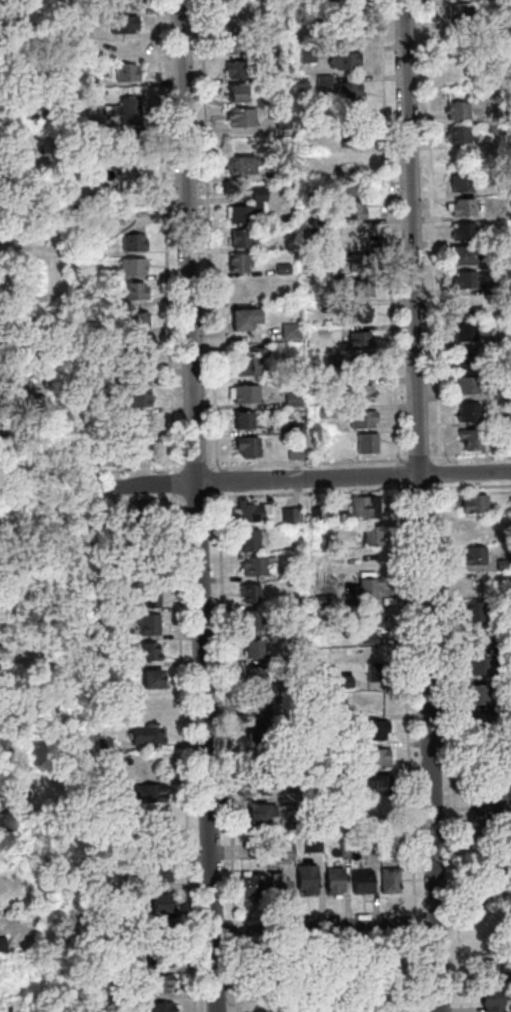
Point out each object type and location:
building: (123, 3)
building: (81, 8)
building: (459, 13)
building: (500, 17)
building: (232, 19)
building: (121, 23)
building: (352, 23)
building: (277, 27)
building: (77, 29)
building: (232, 44)
building: (279, 50)
building: (305, 54)
building: (459, 58)
building: (342, 60)
building: (236, 68)
building: (124, 72)
building: (321, 79)
building: (85, 81)
building: (348, 90)
building: (235, 92)
building: (124, 110)
building: (455, 110)
building: (240, 116)
building: (281, 120)
building: (82, 126)
building: (491, 128)
building: (456, 135)
building: (350, 137)
building: (127, 144)
building: (32, 145)
building: (81, 153)
building: (350, 162)
building: (239, 165)
building: (307, 168)
building: (282, 172)
building: (128, 175)
building: (459, 182)
building: (352, 186)
building: (306, 194)
building: (246, 207)
building: (460, 207)
building: (350, 210)
building: (121, 218)
building: (319, 219)
building: (460, 231)
road: (387, 232)
road: (429, 232)
building: (352, 234)
road: (206, 235)
road: (164, 236)
building: (240, 237)
building: (507, 237)
building: (132, 242)
building: (308, 242)
building: (463, 255)
building: (357, 261)
building: (236, 262)
building: (130, 266)
building: (281, 268)
building: (87, 275)
building: (334, 279)
building: (462, 279)
building: (245, 285)
building: (360, 288)
building: (491, 288)
building: (133, 290)
building: (101, 299)
building: (464, 306)
building: (355, 313)
building: (242, 317)
building: (138, 319)
building: (287, 330)
building: (462, 331)
building: (358, 340)
building: (490, 341)
building: (138, 356)
building: (464, 359)
building: (250, 362)
building: (362, 365)
building: (508, 366)
building: (44, 372)
building: (465, 384)
building: (358, 392)
building: (498, 392)
building: (244, 393)
building: (137, 397)
building: (291, 398)
building: (108, 408)
building: (323, 411)
building: (466, 411)
building: (360, 419)
building: (499, 419)
building: (241, 420)
building: (293, 427)
building: (469, 438)
building: (1, 439)
building: (128, 439)
building: (314, 440)
building: (364, 442)
building: (245, 446)
building: (293, 451)
road: (469, 456)
road: (417, 459)
road: (305, 461)
road: (193, 467)
road: (135, 469)
road: (438, 472)
road: (396, 474)
road: (305, 478)
road: (215, 480)
road: (173, 484)
road: (469, 485)
road: (417, 487)
road: (307, 492)
road: (195, 496)
road: (144, 498)
building: (471, 503)
building: (509, 504)
road: (195, 506)
road: (418, 506)
building: (363, 507)
building: (109, 511)
building: (249, 511)
building: (316, 513)
building: (293, 514)
building: (140, 516)
building: (297, 527)
building: (472, 528)
building: (370, 536)
building: (247, 540)
building: (318, 543)
building: (109, 551)
building: (473, 555)
building: (502, 564)
building: (255, 565)
building: (143, 568)
building: (293, 573)
building: (365, 587)
building: (248, 592)
building: (147, 597)
building: (319, 599)
building: (300, 601)
building: (471, 612)
building: (250, 619)
building: (510, 619)
building: (368, 622)
building: (148, 624)
building: (298, 629)
building: (98, 633)
building: (471, 640)
building: (502, 648)
building: (253, 649)
building: (142, 651)
building: (38, 663)
building: (100, 663)
building: (479, 665)
building: (374, 671)
building: (506, 675)
building: (151, 679)
building: (343, 682)
building: (258, 689)
building: (475, 694)
road: (404, 697)
building: (509, 703)
building: (149, 706)
road: (224, 707)
building: (326, 723)
building: (480, 723)
building: (374, 730)
building: (143, 734)
building: (102, 745)
building: (260, 745)
road: (449, 747)
building: (328, 749)
building: (477, 751)
road: (183, 753)
building: (373, 758)
building: (339, 779)
building: (379, 784)
building: (99, 785)
building: (259, 785)
building: (147, 793)
building: (485, 795)
building: (350, 803)
building: (256, 813)
building: (377, 813)
building: (299, 819)
building: (106, 825)
building: (4, 833)
building: (480, 833)
building: (387, 837)
building: (509, 841)
building: (367, 842)
building: (311, 843)
building: (160, 845)
building: (255, 849)
building: (286, 852)
building: (116, 857)
building: (159, 873)
building: (305, 878)
building: (360, 880)
building: (388, 880)
building: (332, 881)
building: (277, 885)
building: (252, 886)
building: (485, 888)
building: (158, 903)
building: (116, 910)
road: (413, 913)
road: (323, 914)
road: (413, 924)
road: (323, 925)
building: (160, 929)
road: (234, 930)
building: (1, 943)
building: (157, 956)
building: (110, 967)
building: (361, 969)
road: (414, 971)
building: (490, 972)
road: (234, 974)
park: (328, 975)
building: (153, 983)
building: (111, 994)
building: (489, 1001)
building: (159, 1007)

